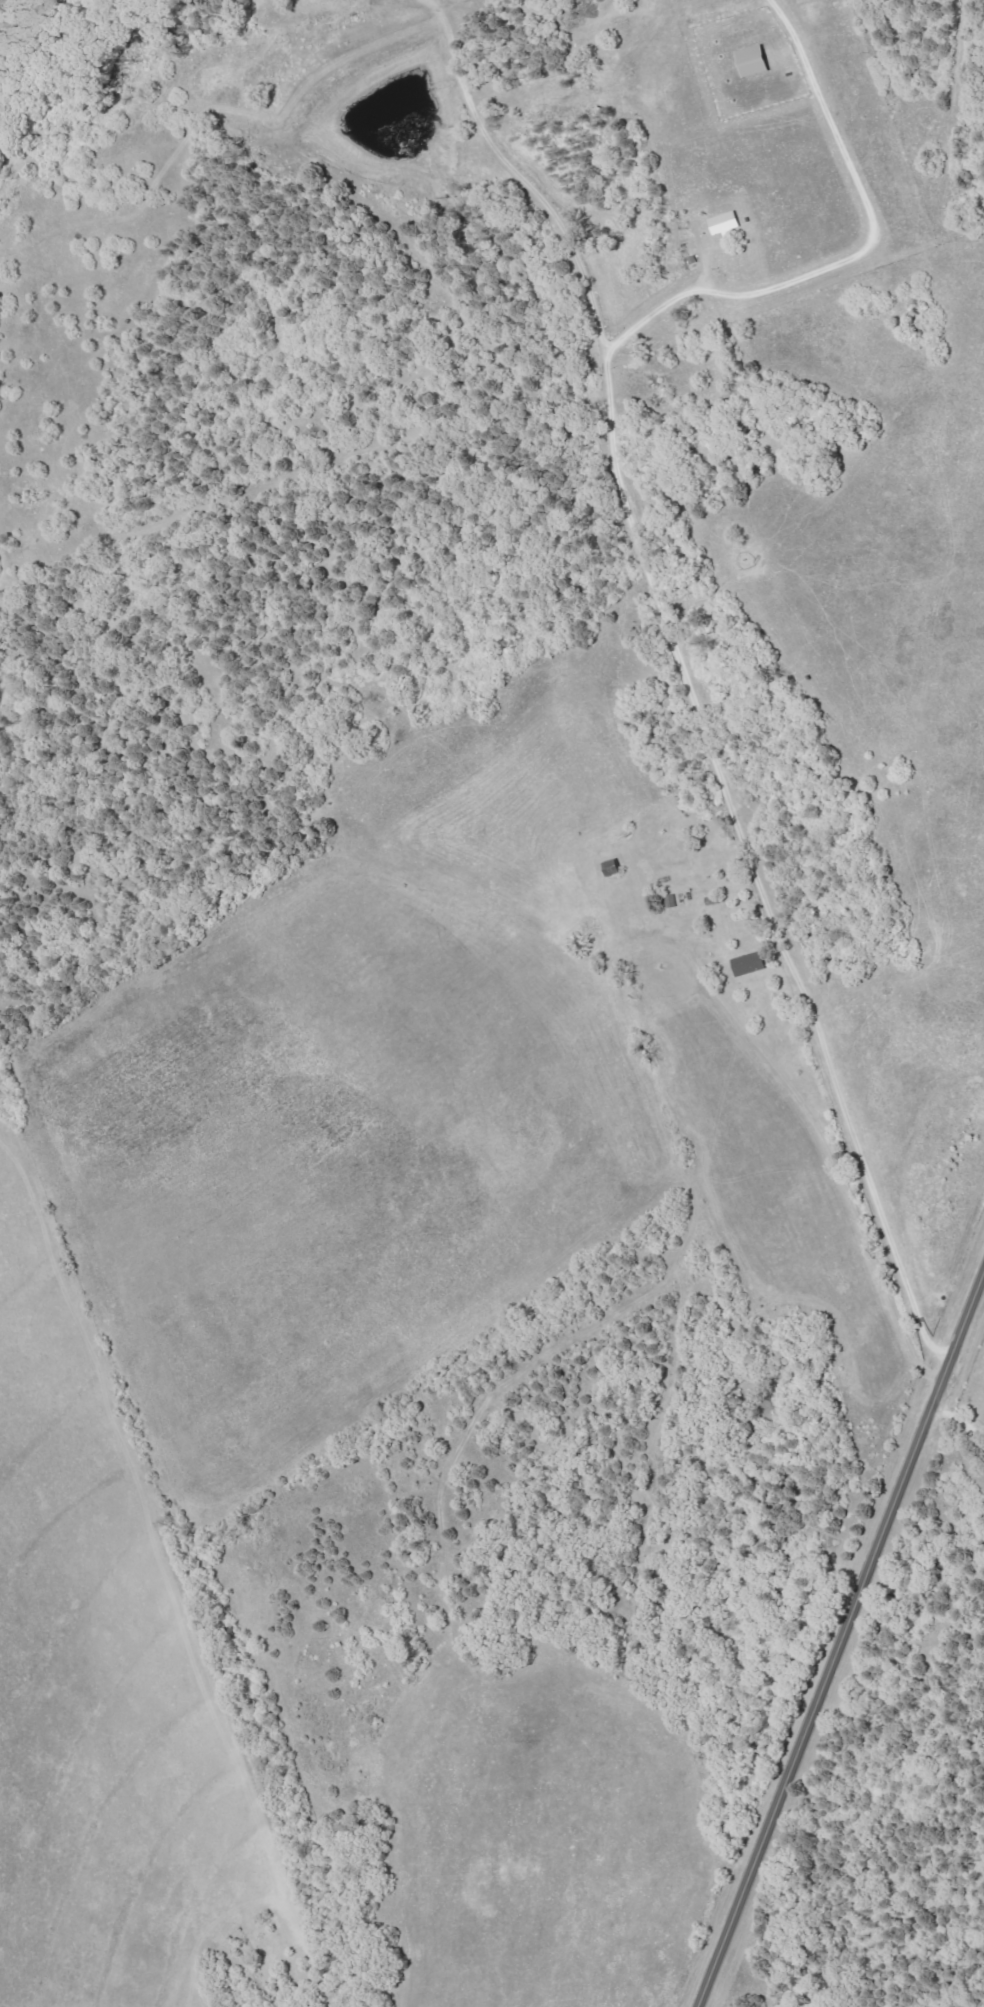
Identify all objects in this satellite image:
building: (726, 224)
road: (720, 777)
building: (614, 867)
building: (750, 963)
road: (827, 1139)
road: (958, 1425)
road: (839, 1637)

